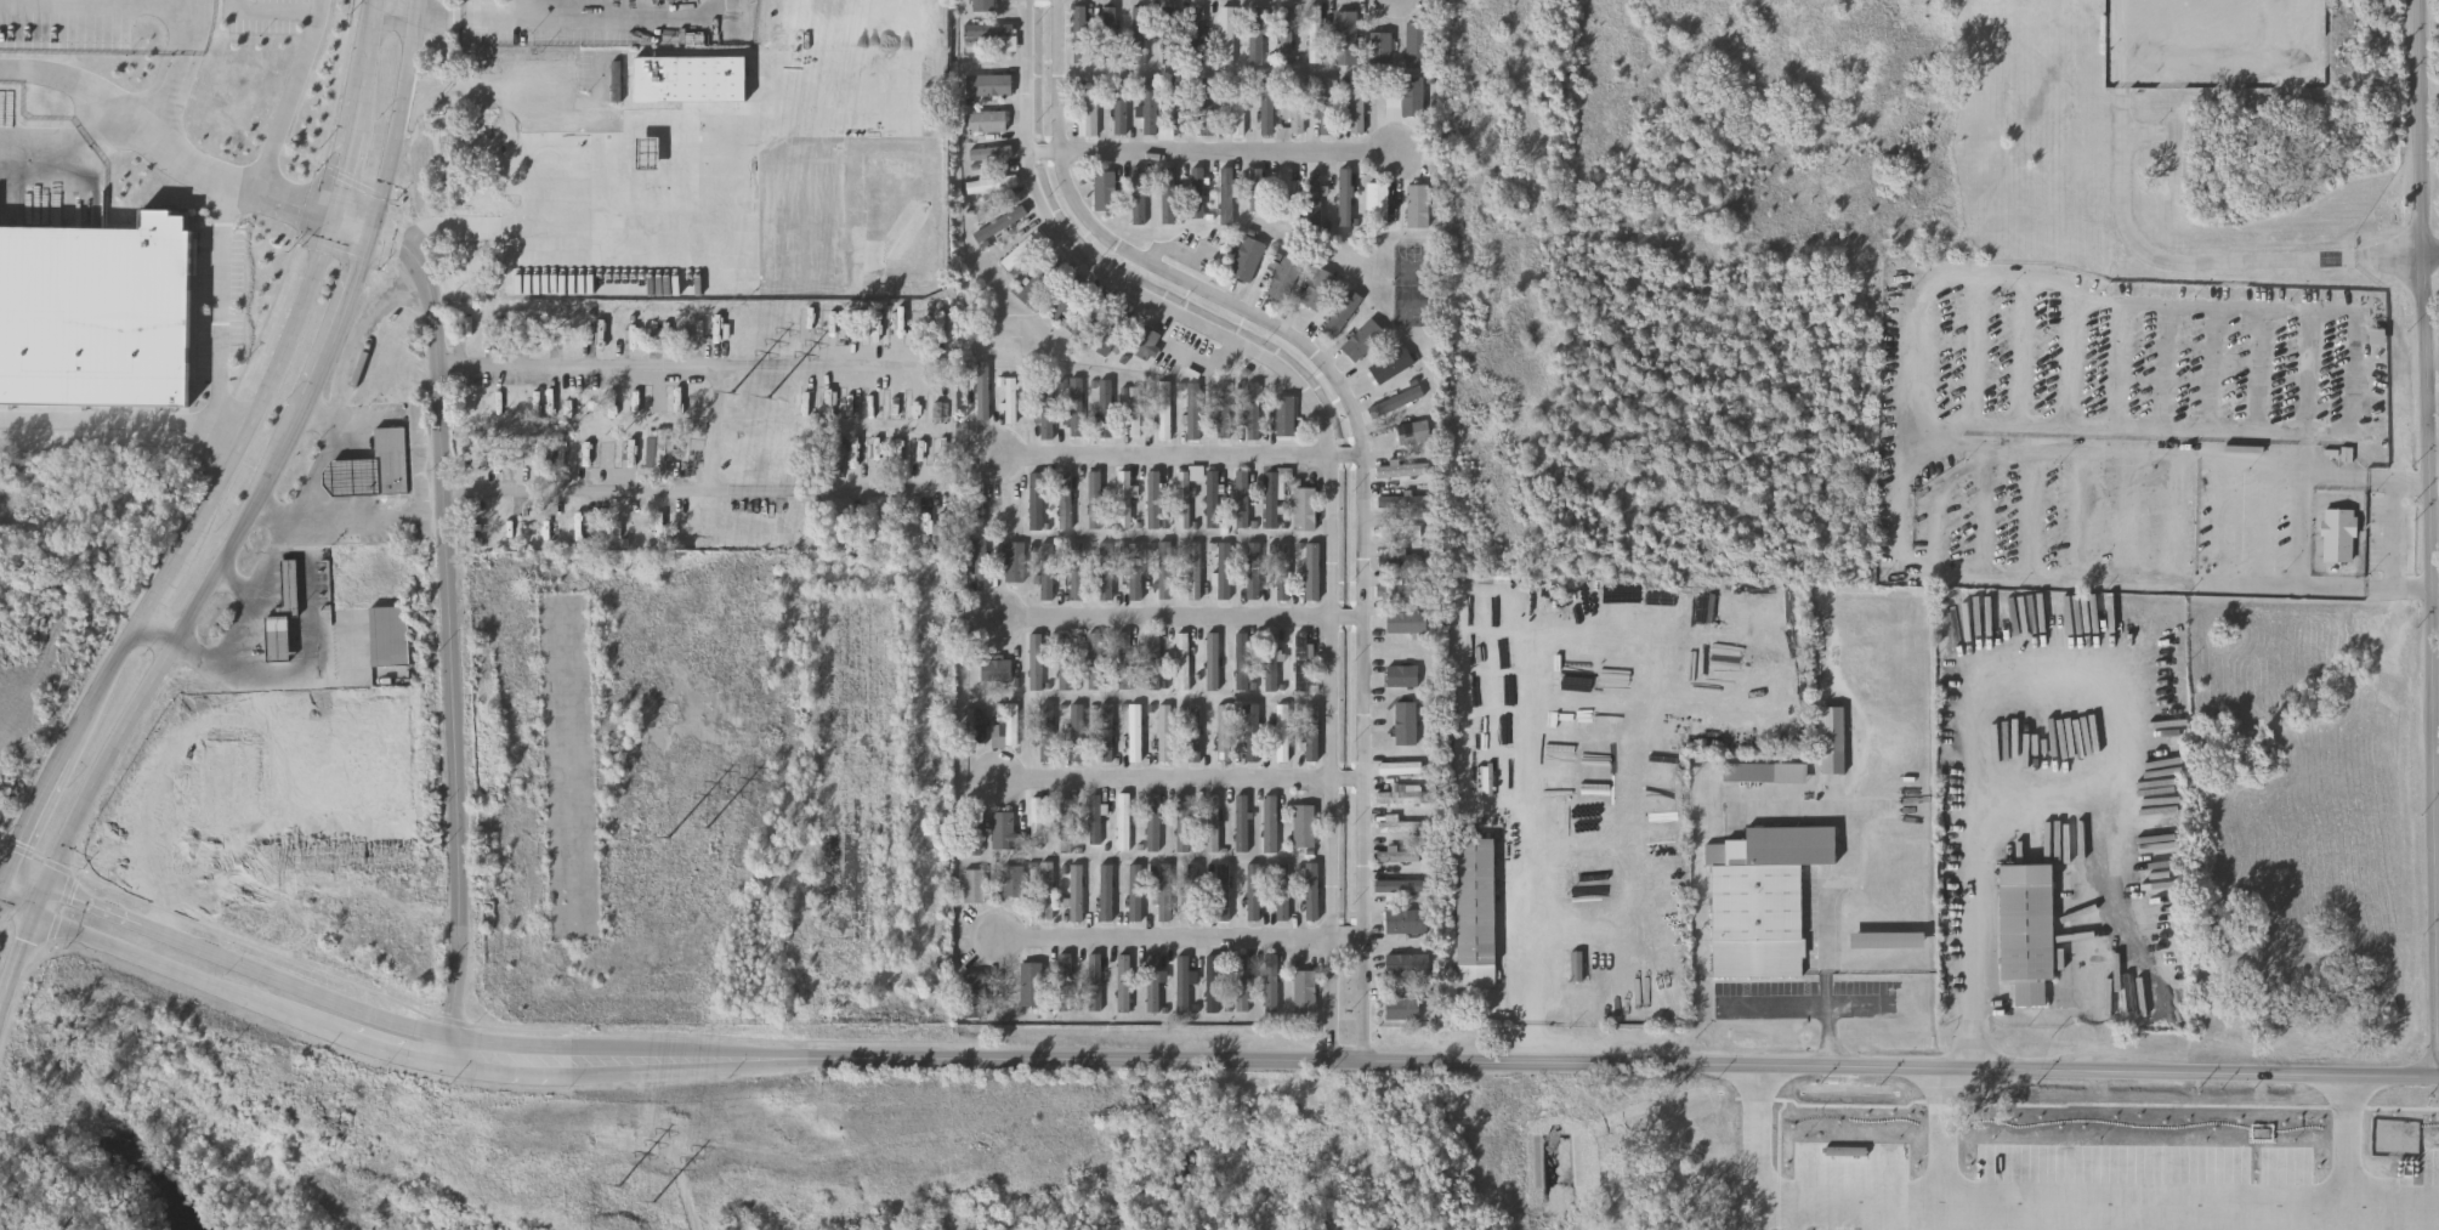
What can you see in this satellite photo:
road: (380, 1)
building: (983, 5)
road: (272, 10)
road: (558, 22)
building: (996, 30)
building: (1084, 33)
building: (1315, 33)
building: (1110, 34)
building: (1136, 34)
building: (1170, 34)
building: (1198, 34)
building: (1227, 34)
building: (1255, 34)
building: (1286, 34)
building: (1345, 36)
building: (1379, 42)
road: (370, 44)
building: (1417, 45)
building: (696, 83)
building: (989, 84)
road: (293, 96)
building: (1418, 98)
building: (1267, 103)
building: (1297, 103)
building: (1356, 103)
building: (1209, 104)
building: (1237, 104)
building: (1326, 104)
building: (1150, 106)
building: (1122, 107)
building: (1179, 107)
road: (354, 108)
building: (1091, 108)
road: (401, 117)
road: (611, 117)
road: (134, 119)
building: (987, 120)
road: (158, 151)
building: (992, 151)
road: (1212, 157)
road: (340, 171)
building: (578, 181)
building: (992, 183)
building: (1255, 188)
building: (1105, 191)
building: (1197, 193)
building: (1169, 194)
building: (1287, 194)
building: (1140, 195)
building: (1226, 195)
building: (1345, 197)
building: (1314, 202)
building: (1377, 202)
building: (1417, 205)
traffic signals: (330, 212)
road: (482, 217)
road: (351, 222)
building: (1000, 223)
traffic signals: (373, 232)
building: (1022, 250)
road: (1181, 254)
road: (2154, 257)
building: (1247, 259)
road: (2431, 259)
road: (353, 278)
building: (1039, 279)
building: (1282, 279)
building: (1317, 289)
building: (1065, 297)
building: (91, 311)
building: (1090, 314)
building: (1342, 314)
road: (223, 319)
building: (1114, 329)
building: (2376, 339)
building: (1362, 340)
building: (1144, 342)
road: (1912, 351)
road: (677, 365)
building: (1390, 365)
road: (270, 382)
building: (982, 389)
power tower: (734, 398)
building: (1010, 399)
building: (1395, 399)
power tower: (770, 404)
building: (1077, 407)
building: (1106, 408)
building: (1164, 408)
building: (1224, 408)
building: (1045, 409)
building: (1134, 410)
building: (1193, 410)
building: (1253, 410)
building: (1284, 414)
road: (319, 416)
road: (108, 425)
road: (726, 430)
building: (1412, 431)
building: (560, 450)
building: (659, 454)
road: (1363, 454)
road: (1329, 455)
building: (602, 457)
road: (2434, 459)
road: (1182, 460)
building: (1405, 470)
building: (358, 478)
gas station: (358, 478)
road: (687, 493)
building: (1185, 493)
building: (1123, 498)
building: (1213, 498)
building: (1241, 498)
building: (1066, 499)
building: (1094, 499)
building: (1153, 499)
building: (1271, 499)
building: (1036, 500)
building: (1407, 500)
building: (975, 504)
road: (301, 506)
building: (1304, 508)
road: (274, 511)
road: (340, 522)
building: (1397, 529)
road: (2303, 529)
road: (2431, 537)
building: (2338, 538)
building: (1402, 560)
building: (1014, 562)
building: (1105, 569)
building: (1165, 569)
building: (1193, 569)
building: (1223, 569)
building: (1253, 569)
building: (1312, 569)
building: (1048, 571)
building: (1076, 571)
building: (1134, 571)
building: (1283, 571)
road: (163, 582)
road: (234, 582)
building: (1401, 589)
road: (195, 607)
building: (283, 614)
building: (1406, 620)
road: (1184, 623)
road: (449, 634)
building: (390, 635)
road: (1582, 635)
road: (310, 639)
building: (1124, 659)
building: (1037, 661)
building: (1067, 661)
building: (1094, 661)
building: (1152, 661)
building: (1182, 661)
building: (1212, 661)
building: (1241, 661)
building: (1270, 661)
building: (1300, 662)
building: (996, 669)
building: (1401, 675)
road: (98, 686)
road: (2435, 696)
building: (1011, 724)
building: (1407, 724)
building: (980, 726)
building: (1310, 731)
building: (1077, 732)
building: (1105, 732)
building: (1134, 732)
building: (1164, 732)
building: (1193, 732)
building: (1224, 732)
building: (1252, 732)
building: (1281, 732)
building: (1045, 733)
building: (1833, 741)
building: (1393, 765)
building: (1751, 773)
road: (1181, 784)
building: (1401, 797)
road: (2029, 804)
road: (34, 812)
building: (1096, 818)
building: (1122, 821)
building: (1036, 822)
building: (1152, 822)
building: (1182, 822)
building: (1212, 822)
building: (1066, 823)
building: (1241, 823)
building: (1269, 824)
building: (1400, 824)
building: (1303, 826)
building: (974, 829)
building: (1002, 829)
power tower: (710, 833)
power tower: (671, 841)
building: (1396, 855)
traffic signals: (8, 871)
road: (27, 878)
road: (4, 879)
building: (1013, 879)
traffic signals: (45, 885)
building: (972, 885)
building: (1397, 885)
building: (1046, 889)
building: (1220, 889)
road: (1839, 889)
building: (1310, 890)
building: (1074, 891)
building: (1105, 891)
building: (1134, 891)
building: (1164, 891)
building: (1193, 891)
building: (1253, 891)
building: (1281, 891)
building: (1763, 899)
road: (39, 901)
road: (16, 908)
building: (1476, 913)
traffic signals: (33, 918)
building: (575, 919)
building: (1403, 920)
building: (2026, 930)
building: (1888, 939)
road: (1184, 941)
road: (16, 958)
building: (1405, 964)
building: (1577, 975)
building: (1094, 981)
building: (1122, 981)
building: (1031, 982)
building: (1152, 982)
building: (1210, 982)
building: (1241, 982)
building: (1270, 982)
building: (1181, 984)
building: (1303, 991)
building: (975, 994)
road: (1800, 1005)
building: (1400, 1008)
road: (487, 1043)
road: (1698, 1066)
road: (482, 1070)
building: (1683, 1128)
building: (1870, 1172)
power tower: (620, 1188)
road: (1849, 1195)
power tower: (656, 1208)
road: (2210, 1209)

